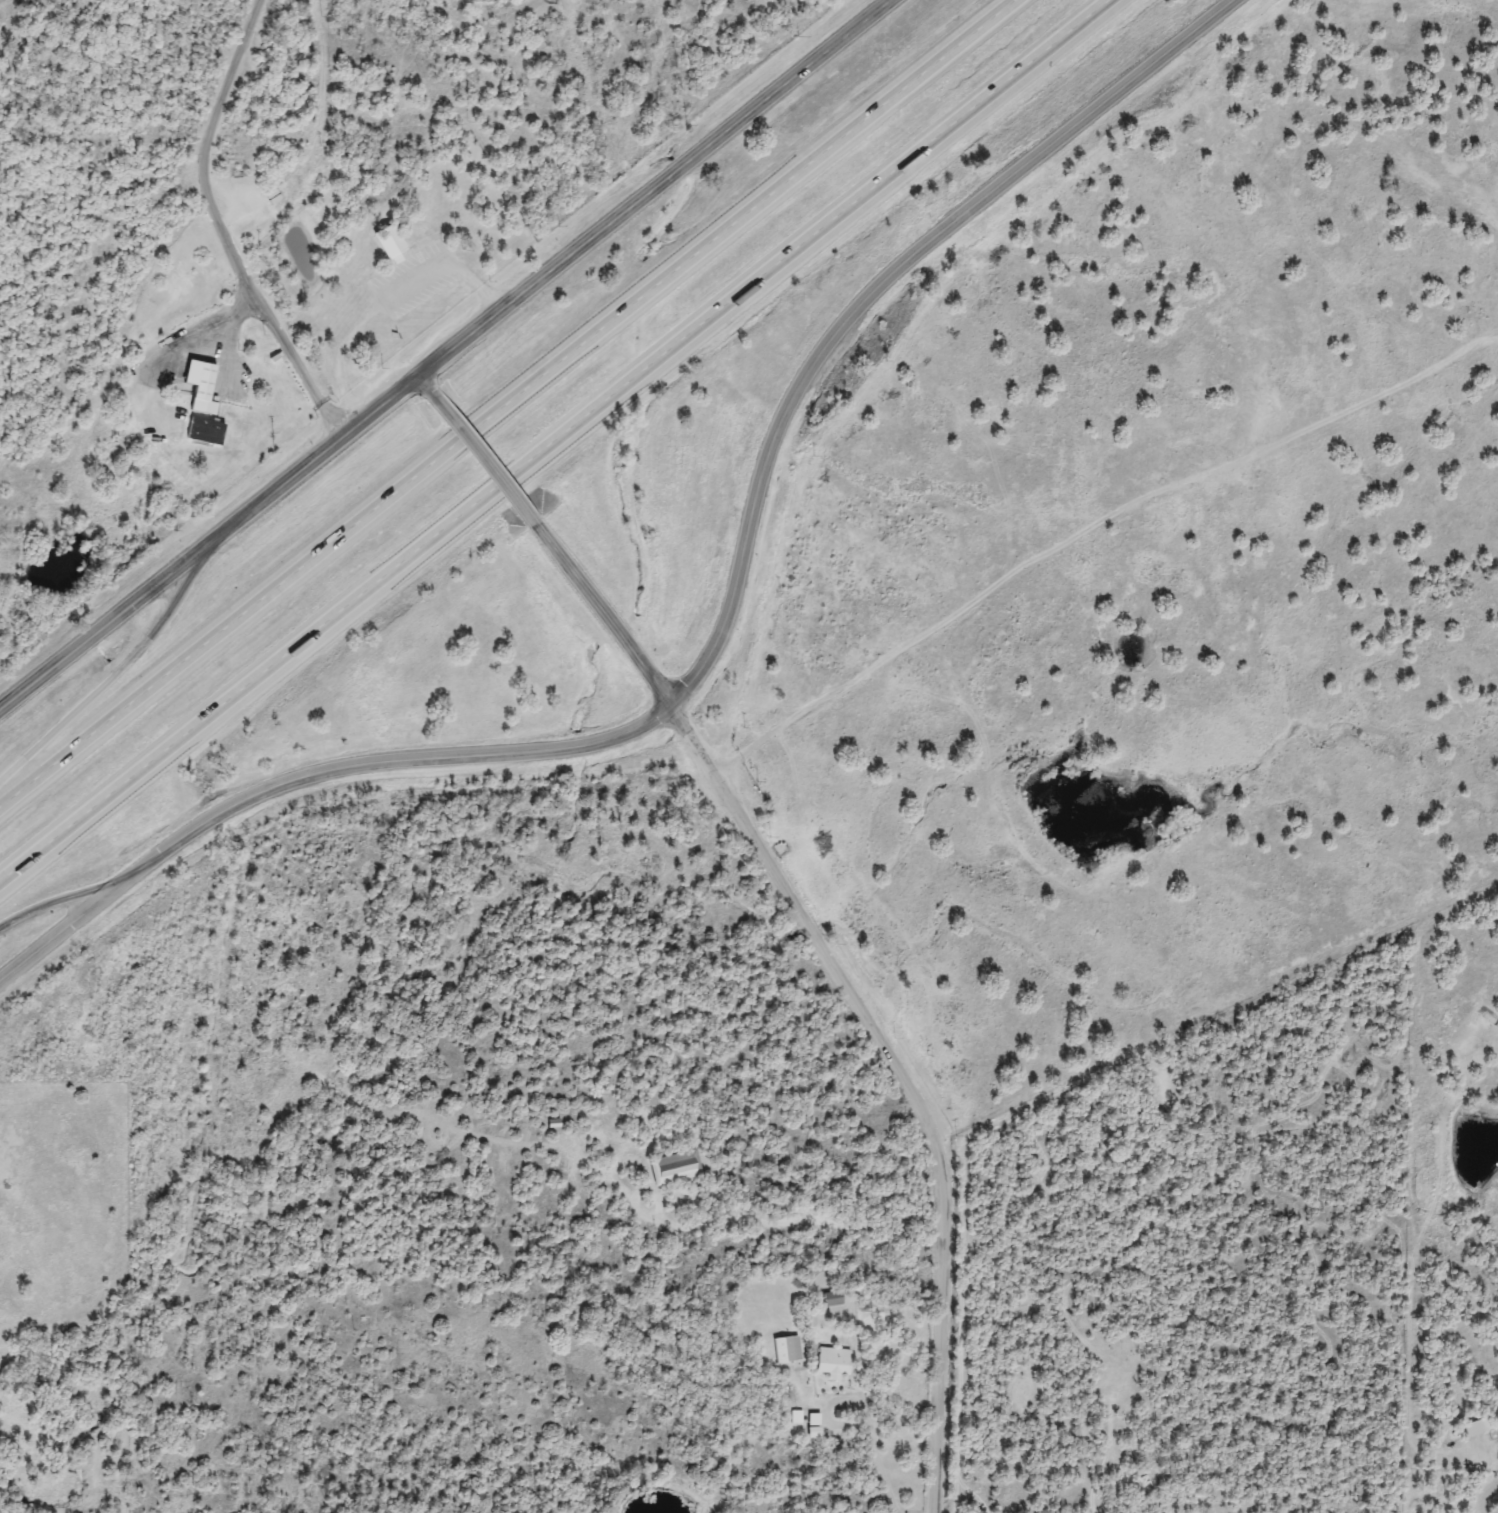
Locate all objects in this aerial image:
road: (1016, 73)
road: (213, 225)
building: (387, 244)
road: (438, 257)
road: (542, 266)
road: (869, 294)
road: (160, 341)
road: (335, 353)
road: (422, 378)
building: (197, 386)
road: (507, 402)
building: (201, 432)
road: (482, 455)
road: (461, 513)
road: (599, 612)
road: (103, 617)
road: (113, 665)
road: (395, 760)
road: (70, 896)
road: (69, 916)
road: (898, 1078)
building: (672, 1167)
building: (830, 1299)
building: (829, 1362)
road: (825, 1400)
road: (879, 1470)

